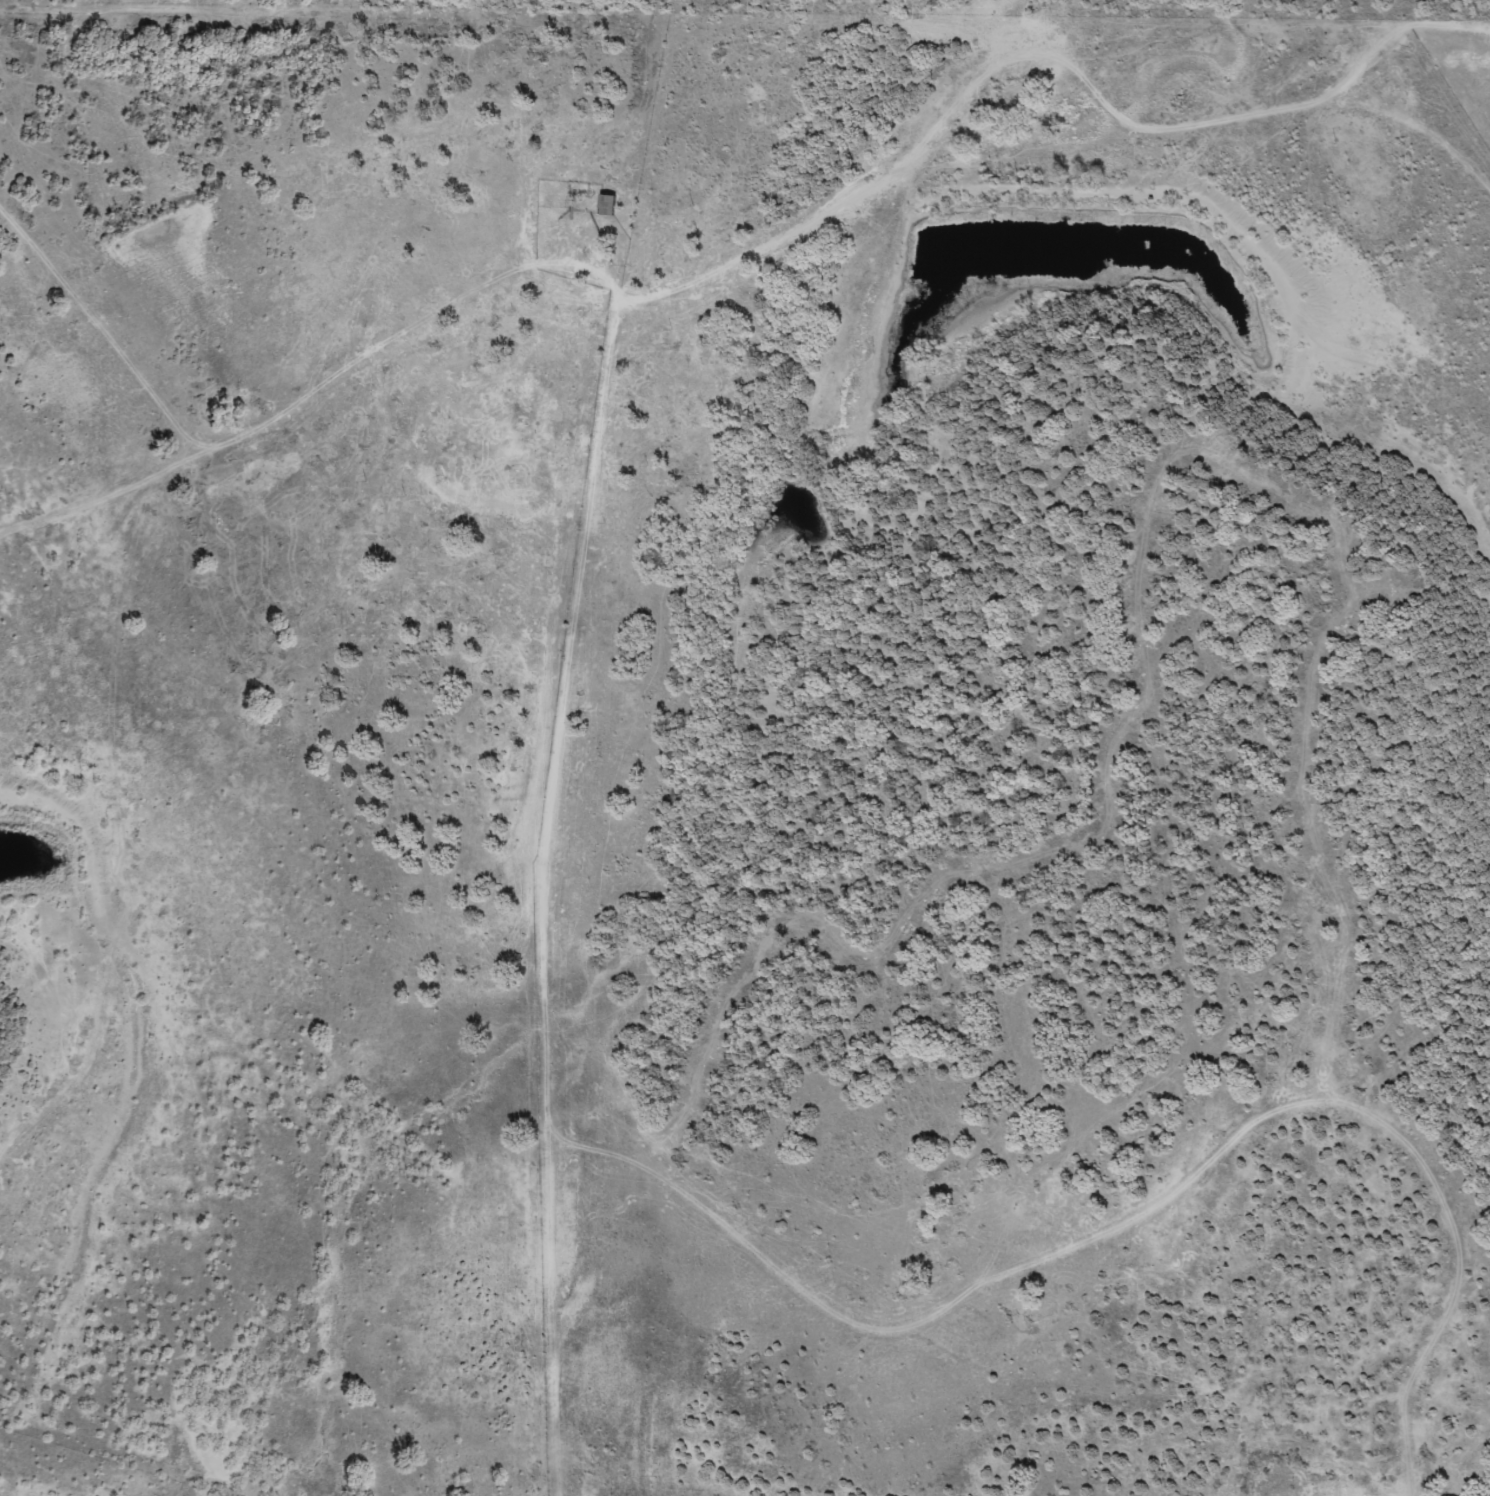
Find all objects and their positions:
road: (1461, 81)
road: (1051, 111)
building: (605, 207)
road: (501, 372)
road: (646, 401)

